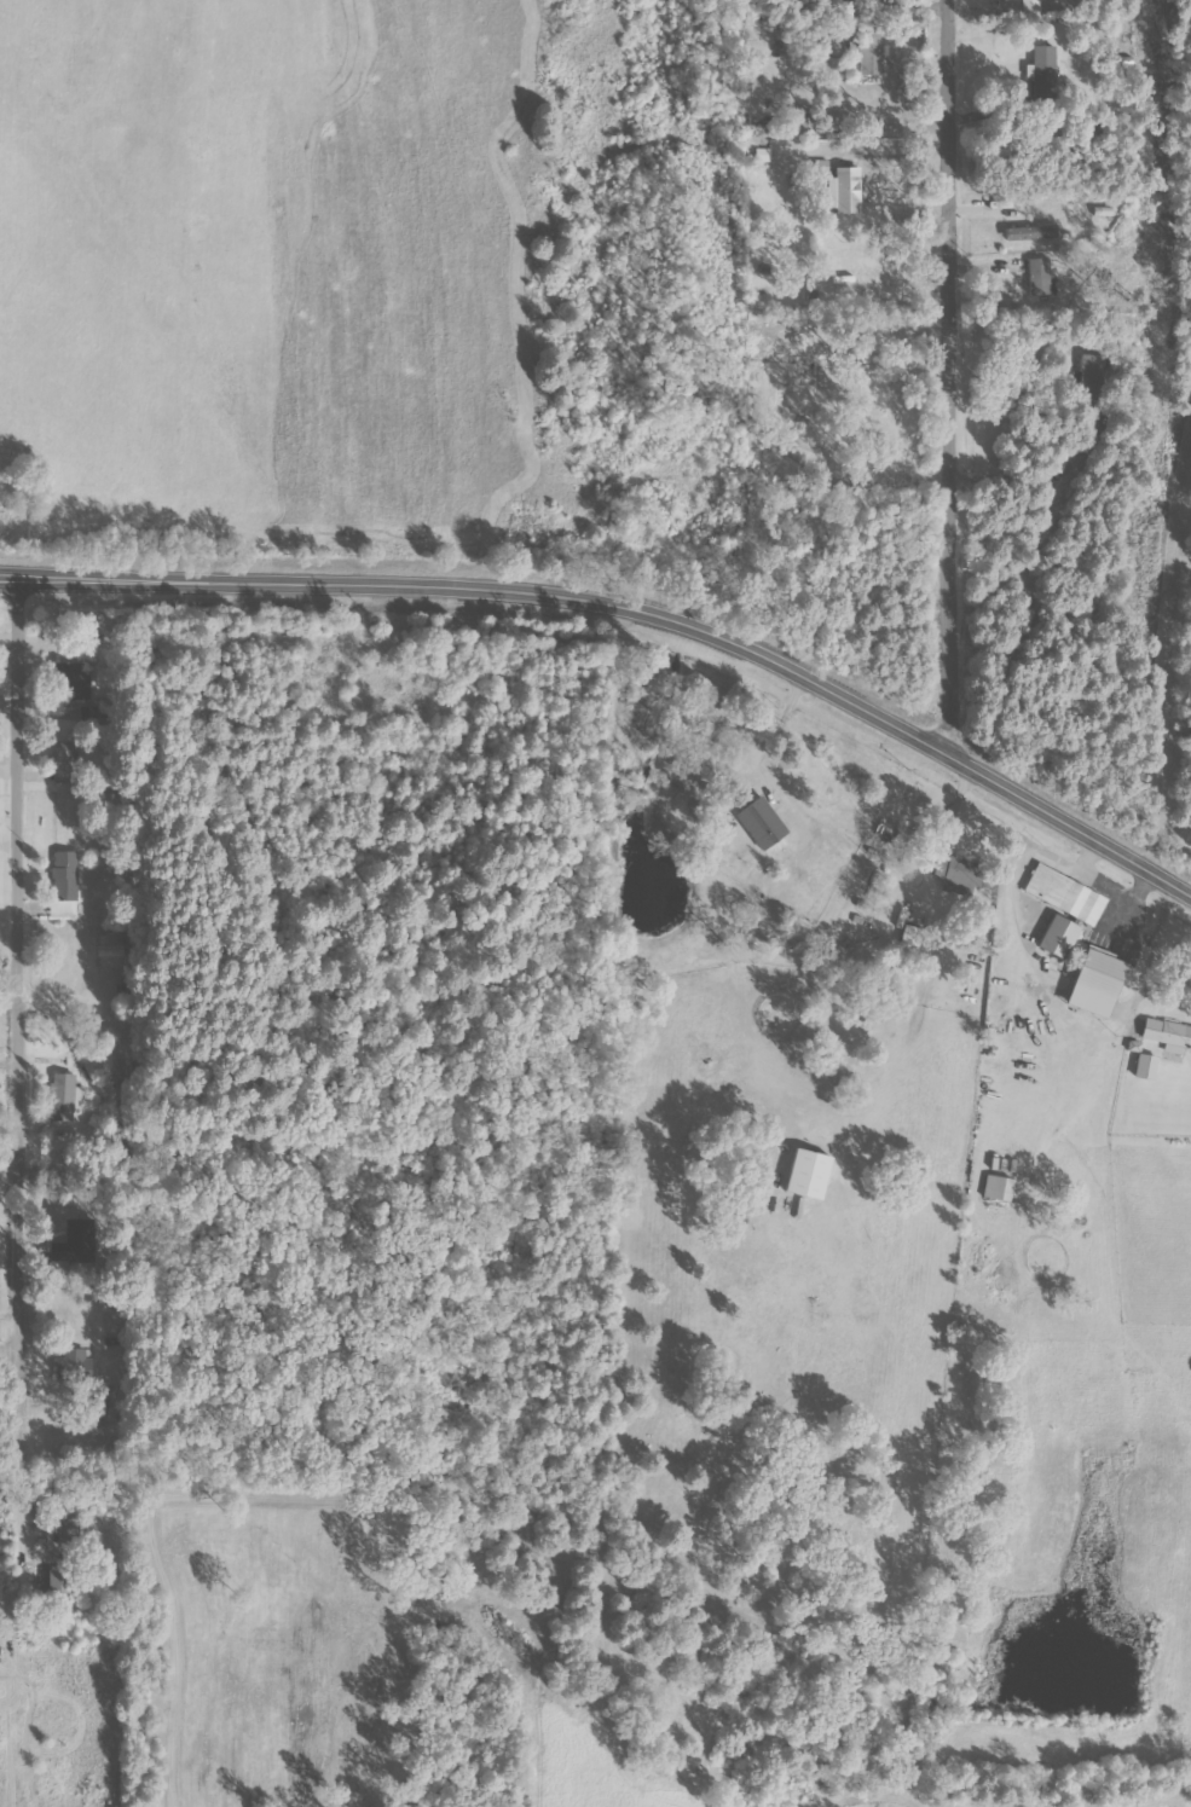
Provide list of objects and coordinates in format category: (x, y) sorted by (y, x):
building: (871, 53)
building: (1043, 60)
building: (797, 127)
building: (763, 155)
building: (843, 190)
building: (1031, 232)
building: (1040, 276)
building: (1092, 376)
road: (954, 377)
road: (629, 608)
building: (75, 679)
building: (64, 763)
building: (762, 822)
building: (954, 874)
building: (65, 875)
building: (1065, 894)
building: (1058, 937)
building: (110, 950)
building: (1095, 983)
road: (24, 1017)
building: (1168, 1035)
building: (1134, 1046)
building: (1145, 1066)
building: (62, 1097)
building: (808, 1174)
building: (998, 1188)
road: (12, 1360)

